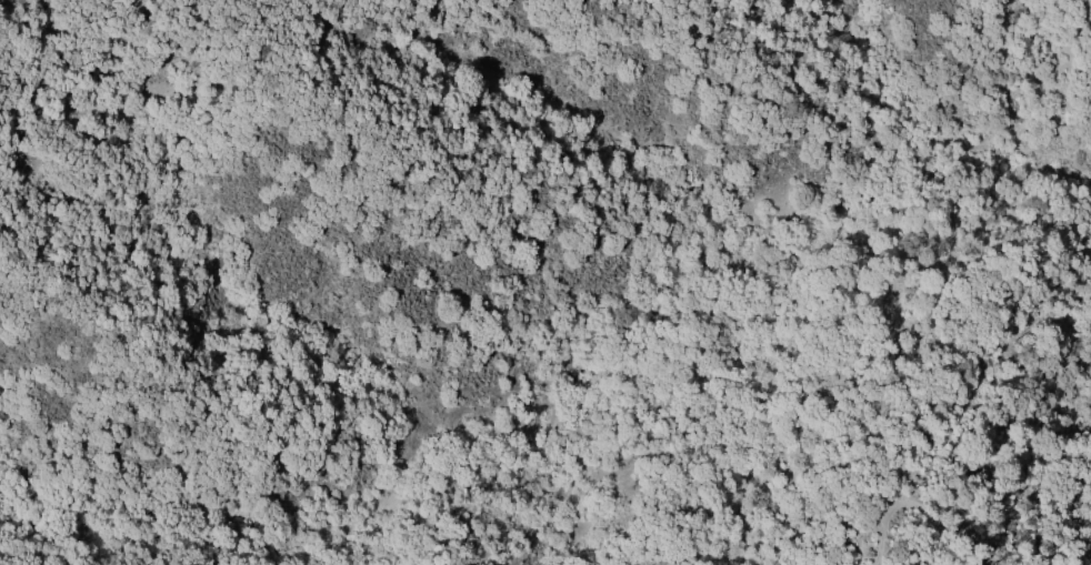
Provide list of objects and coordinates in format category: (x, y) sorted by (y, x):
road: (848, 215)
road: (927, 506)

